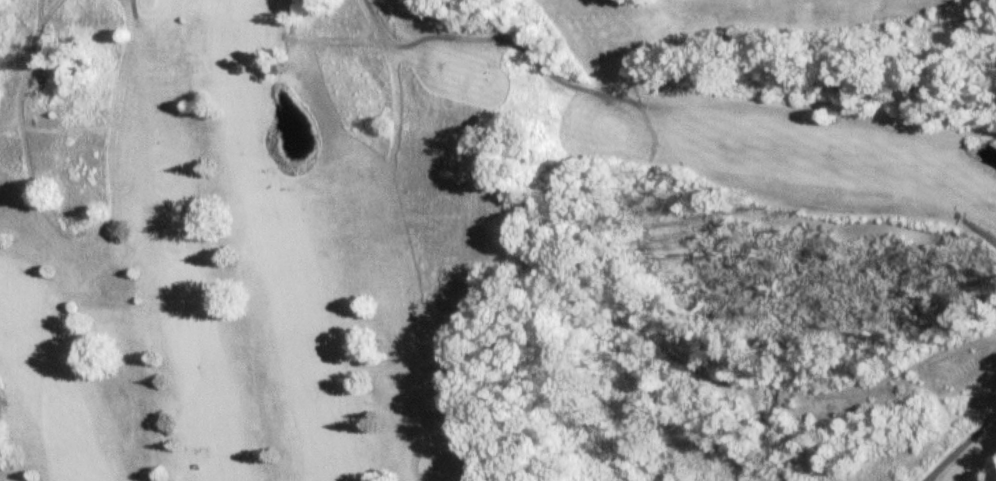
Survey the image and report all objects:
park: (498, 240)

